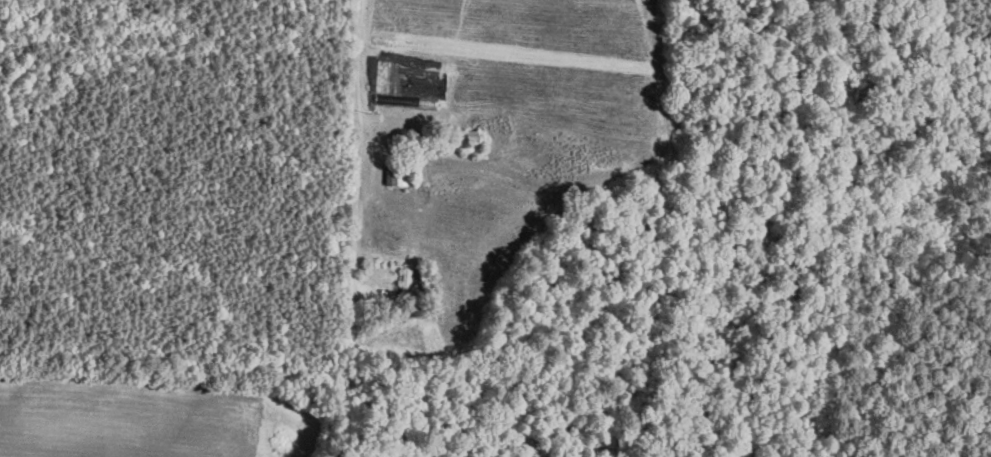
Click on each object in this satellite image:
road: (352, 223)

